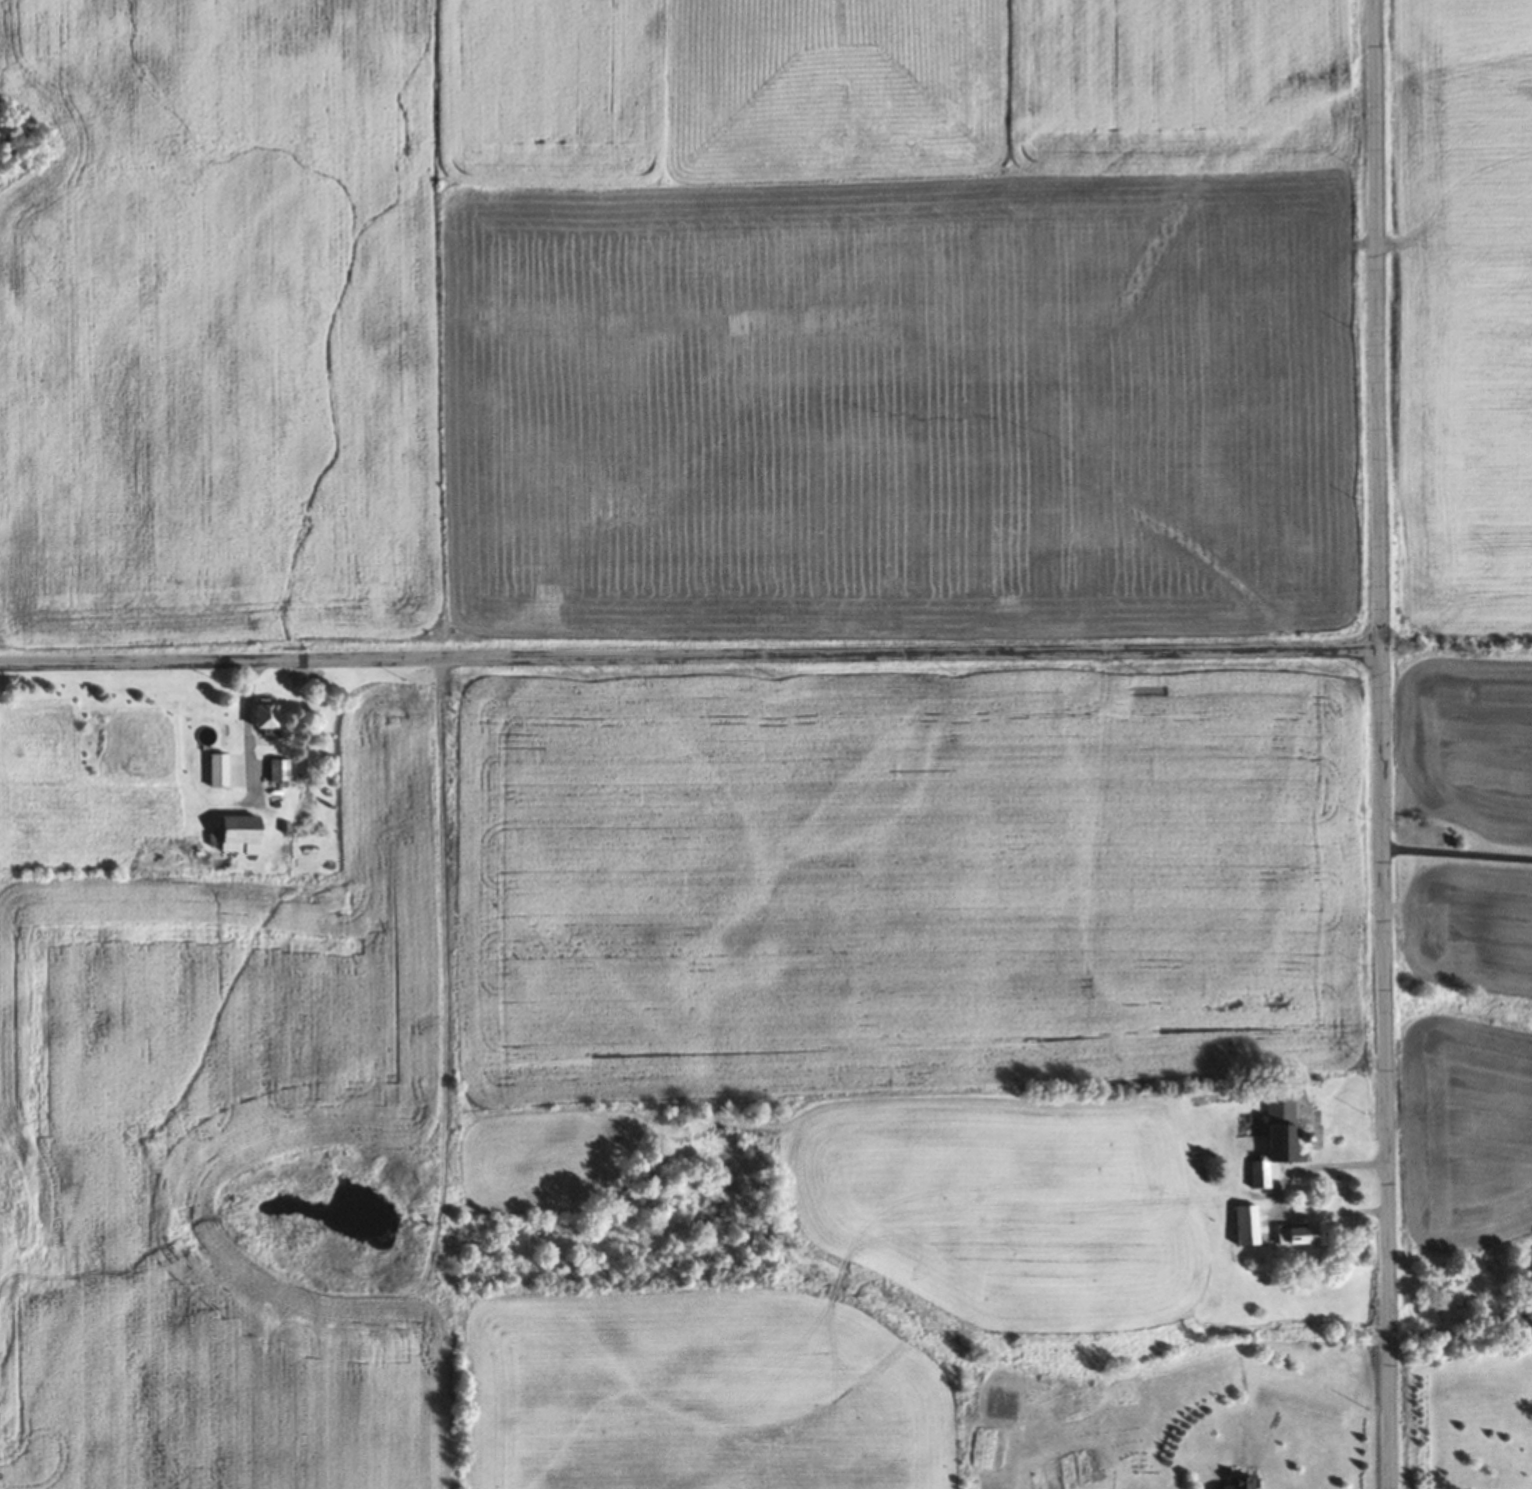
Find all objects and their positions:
road: (690, 656)
building: (265, 713)
road: (1382, 744)
building: (218, 769)
building: (240, 835)
road: (1458, 852)
building: (1276, 1139)
building: (1246, 1225)
building: (1298, 1234)
building: (1238, 1483)

